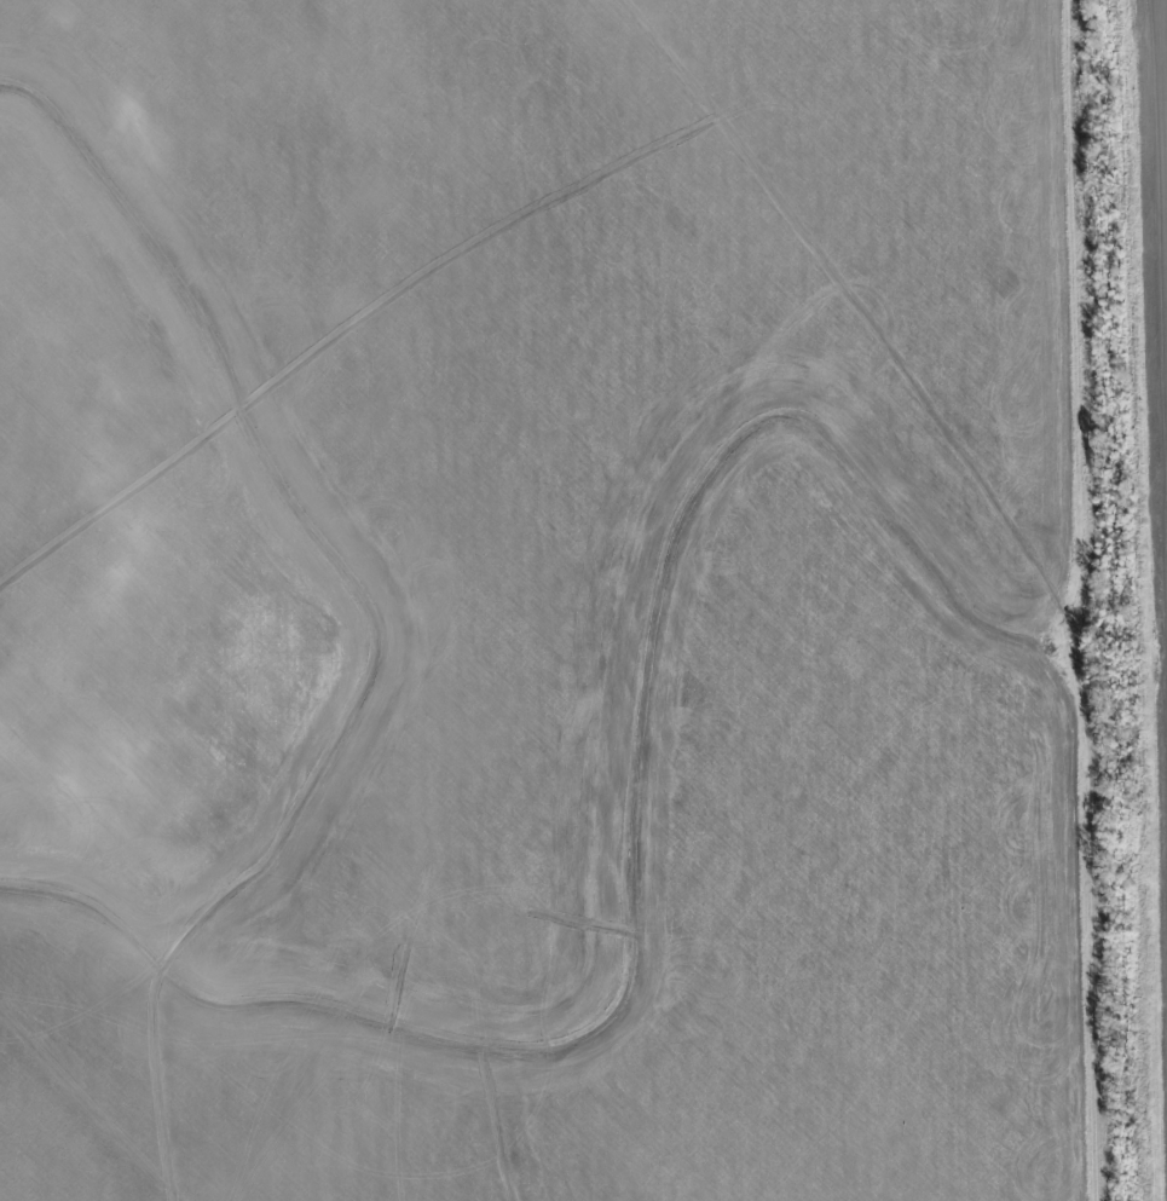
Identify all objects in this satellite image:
road: (1157, 560)

